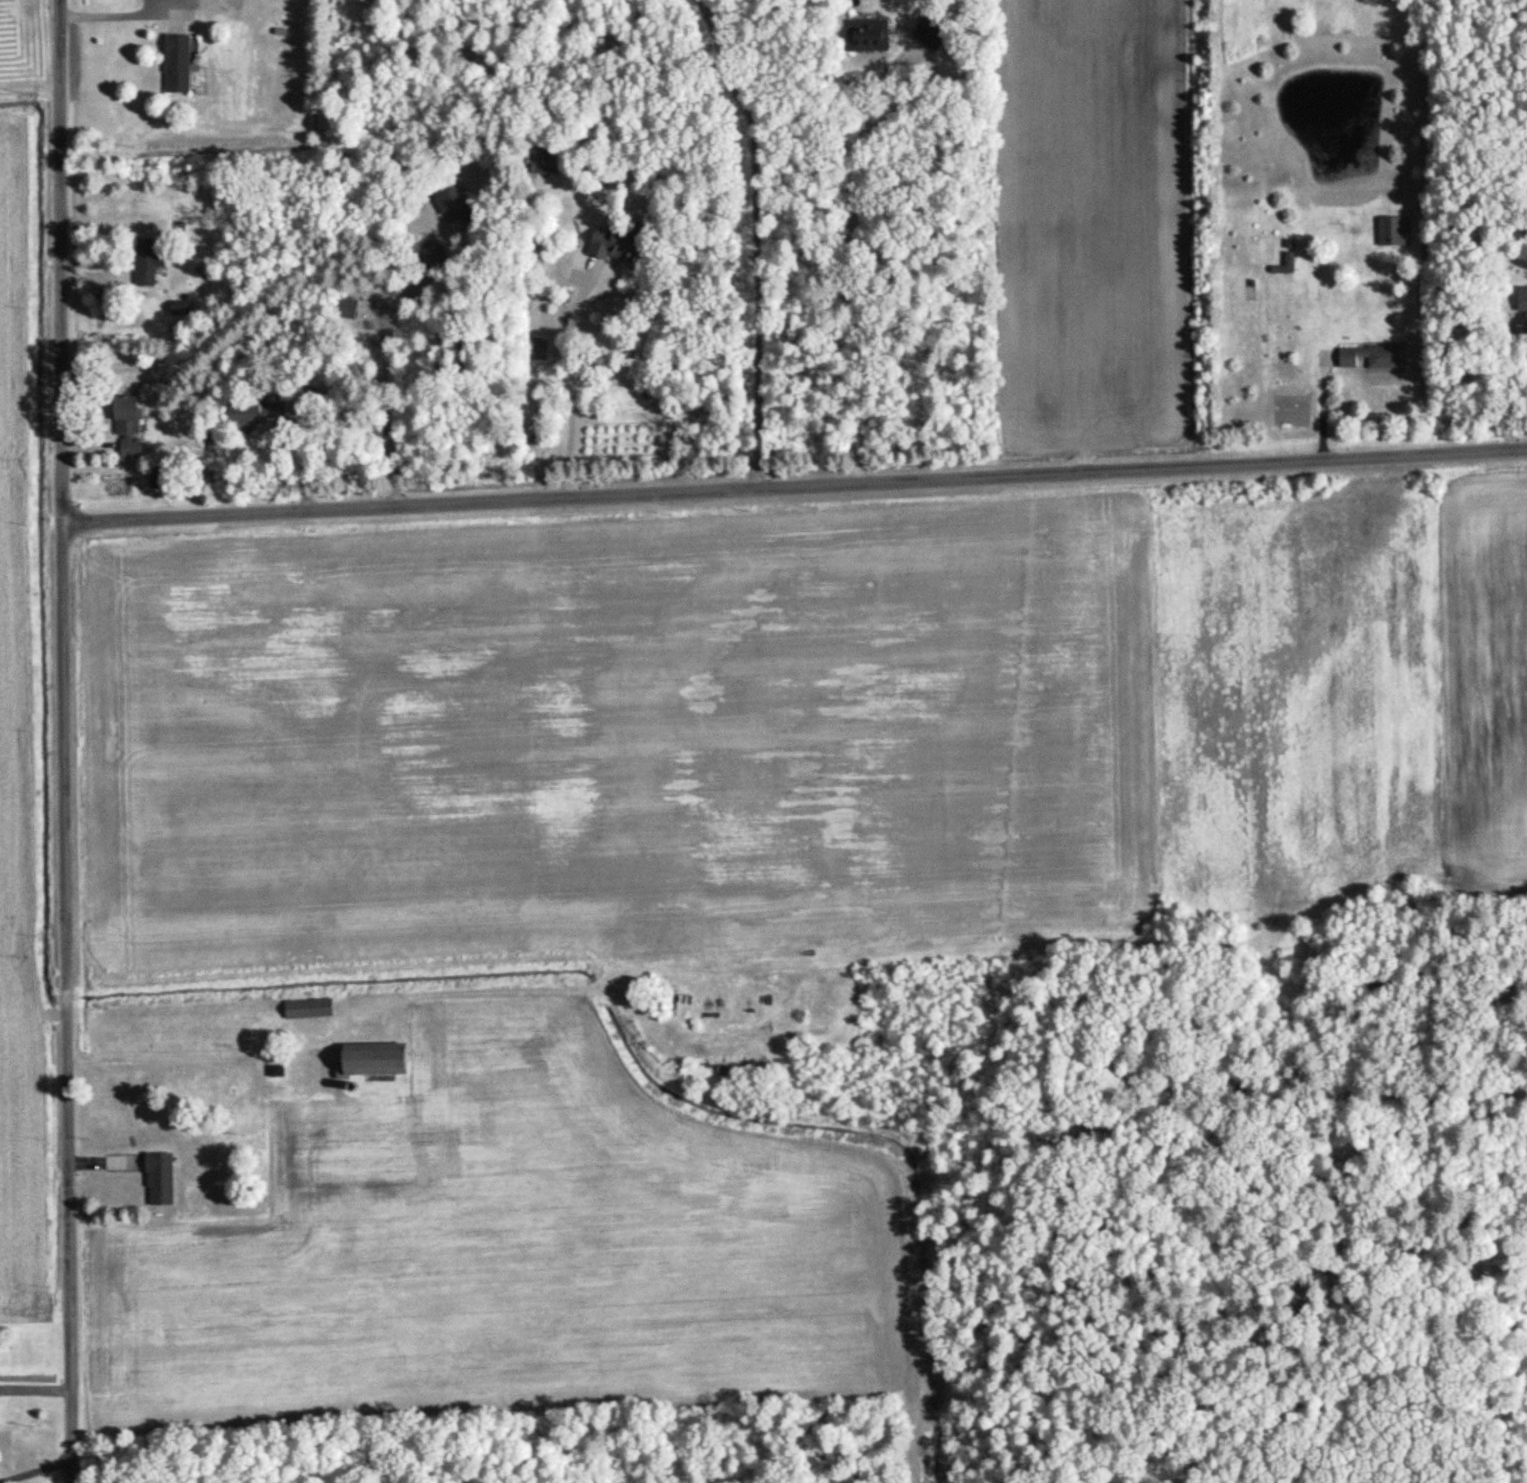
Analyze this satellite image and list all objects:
road: (105, 12)
building: (865, 36)
building: (173, 63)
building: (537, 159)
road: (852, 189)
building: (445, 204)
building: (1392, 231)
road: (750, 238)
building: (605, 244)
building: (143, 263)
building: (1285, 264)
building: (1520, 299)
building: (175, 307)
building: (340, 308)
building: (1367, 357)
road: (558, 373)
road: (381, 374)
road: (1507, 384)
road: (1321, 404)
building: (249, 415)
building: (121, 423)
road: (794, 483)
road: (59, 741)
building: (315, 1007)
road: (184, 1055)
building: (385, 1058)
building: (166, 1178)
road: (33, 1466)

